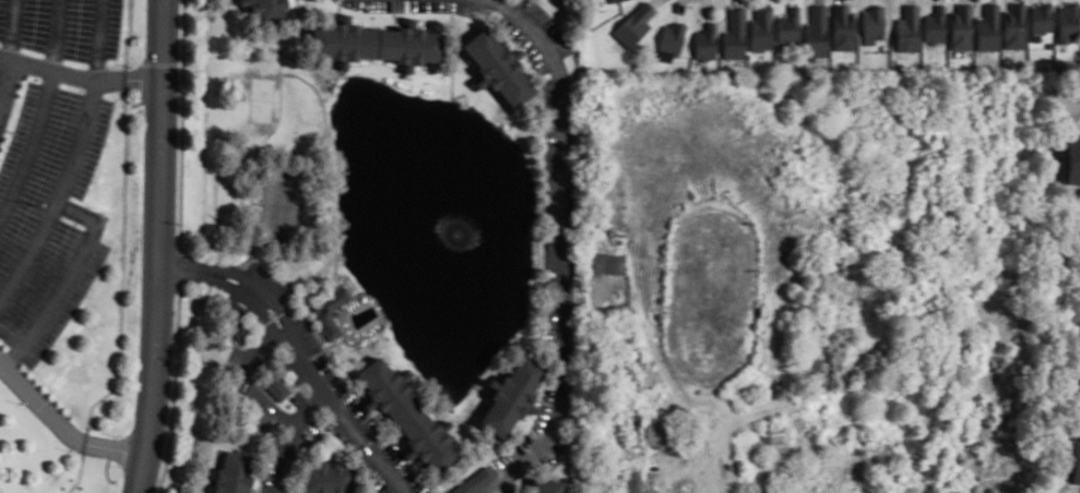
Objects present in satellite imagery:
building: (244, 0)
building: (612, 0)
road: (818, 0)
road: (839, 0)
road: (654, 1)
road: (736, 1)
road: (762, 1)
street lamp: (407, 2)
parking lot: (369, 4)
road: (679, 4)
road: (705, 4)
road: (302, 5)
building: (269, 9)
building: (1069, 19)
building: (871, 20)
building: (1042, 20)
building: (935, 23)
parking lot: (549, 24)
building: (788, 24)
building: (1017, 24)
building: (633, 25)
building: (962, 25)
parking lot: (62, 26)
building: (761, 26)
building: (841, 26)
building: (906, 27)
building: (989, 27)
road: (13, 28)
building: (815, 32)
building: (735, 33)
road: (56, 34)
building: (674, 36)
road: (96, 38)
building: (344, 39)
building: (705, 39)
building: (408, 43)
building: (881, 47)
parking lot: (534, 56)
building: (499, 64)
road: (79, 76)
road: (7, 81)
road: (203, 117)
road: (29, 144)
parking lot: (550, 146)
building: (1073, 158)
road: (254, 163)
road: (60, 193)
park: (281, 201)
street lamp: (32, 203)
parking lot: (46, 211)
road: (224, 219)
road: (158, 246)
road: (568, 249)
building: (606, 261)
road: (180, 269)
street lamp: (226, 276)
parking lot: (266, 277)
road: (66, 279)
road: (261, 289)
road: (252, 301)
building: (329, 309)
building: (240, 330)
parking lot: (308, 333)
parking lot: (235, 359)
road: (660, 359)
building: (819, 376)
road: (253, 385)
building: (277, 385)
building: (1076, 390)
building: (512, 394)
parking lot: (296, 399)
street lamp: (21, 401)
building: (406, 412)
road: (349, 419)
parking lot: (370, 422)
road: (60, 424)
road: (294, 436)
building: (773, 438)
street lamp: (70, 448)
building: (1078, 459)
building: (233, 472)
building: (330, 477)
building: (472, 480)
building: (633, 481)
building: (547, 484)
parking lot: (384, 485)

